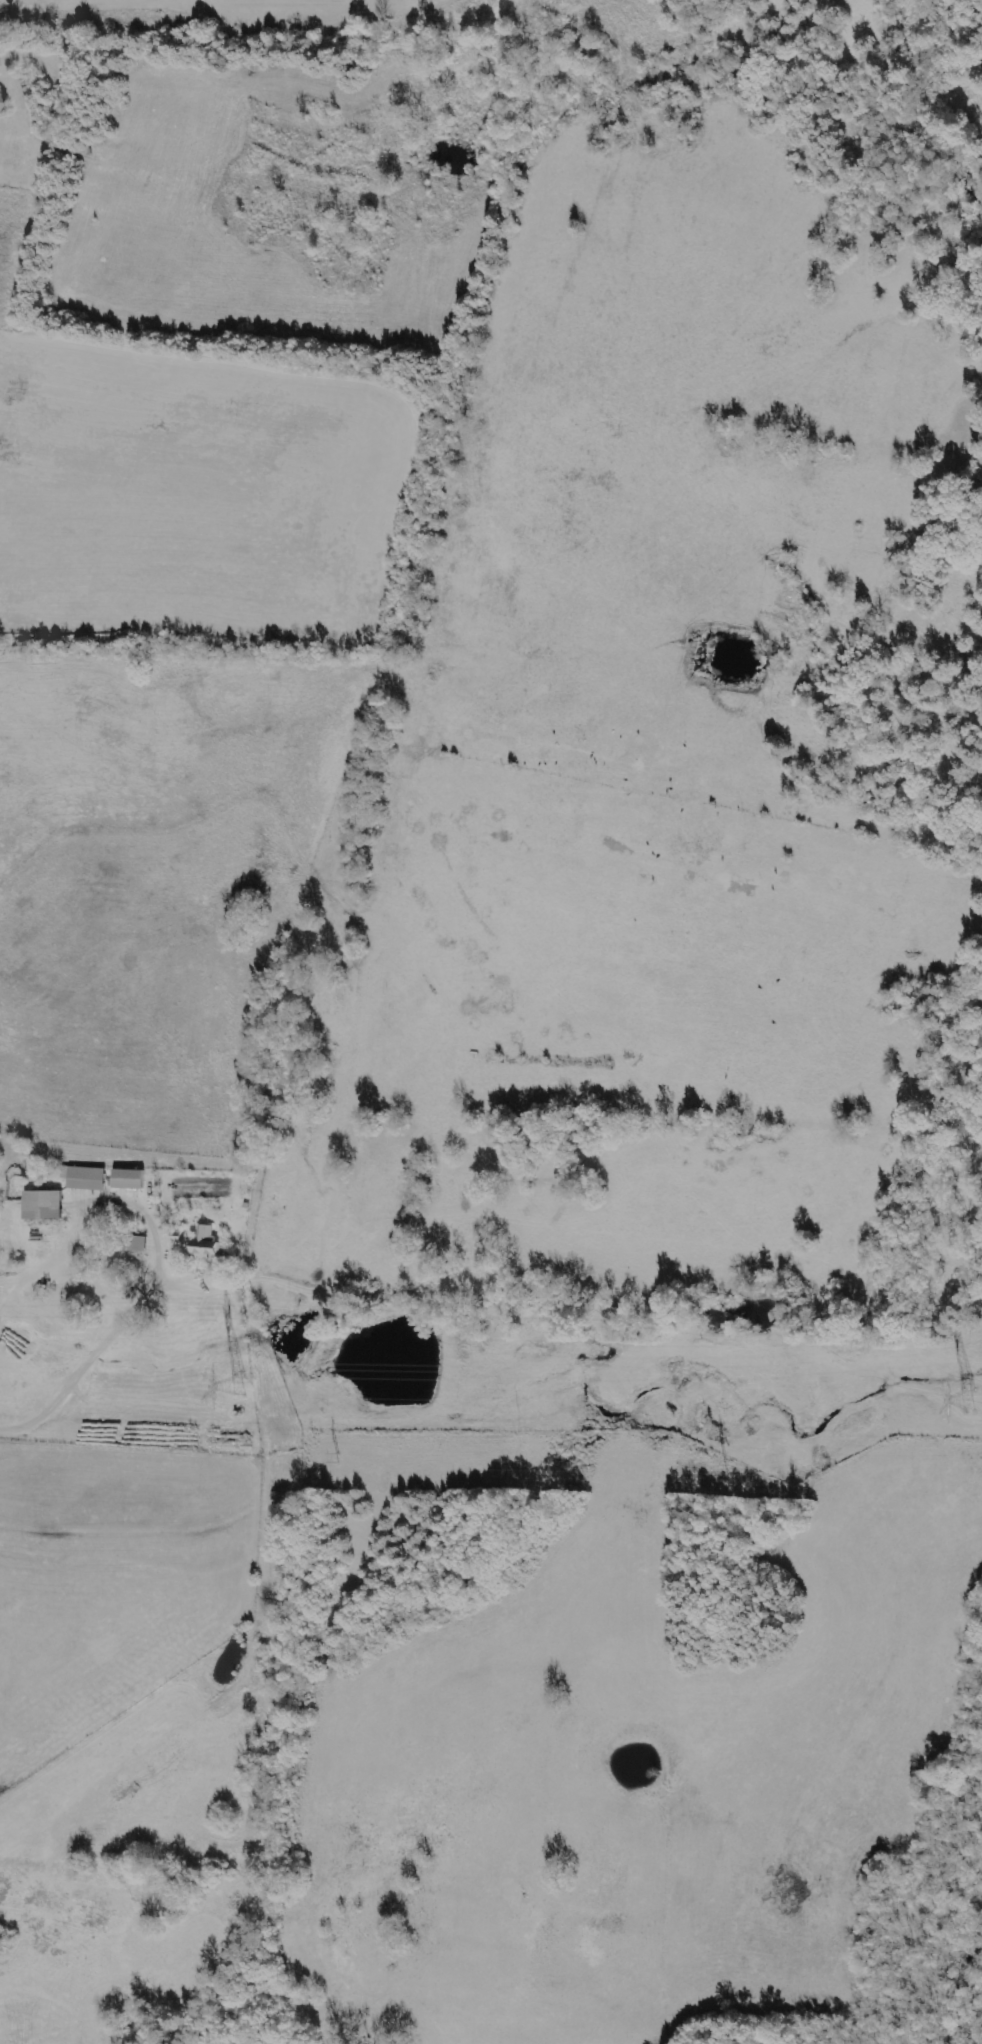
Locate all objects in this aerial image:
building: (0, 96)
building: (85, 1177)
building: (129, 1178)
building: (44, 1204)
building: (207, 1242)
road: (113, 1337)
power tower: (247, 1388)
power tower: (965, 1398)

